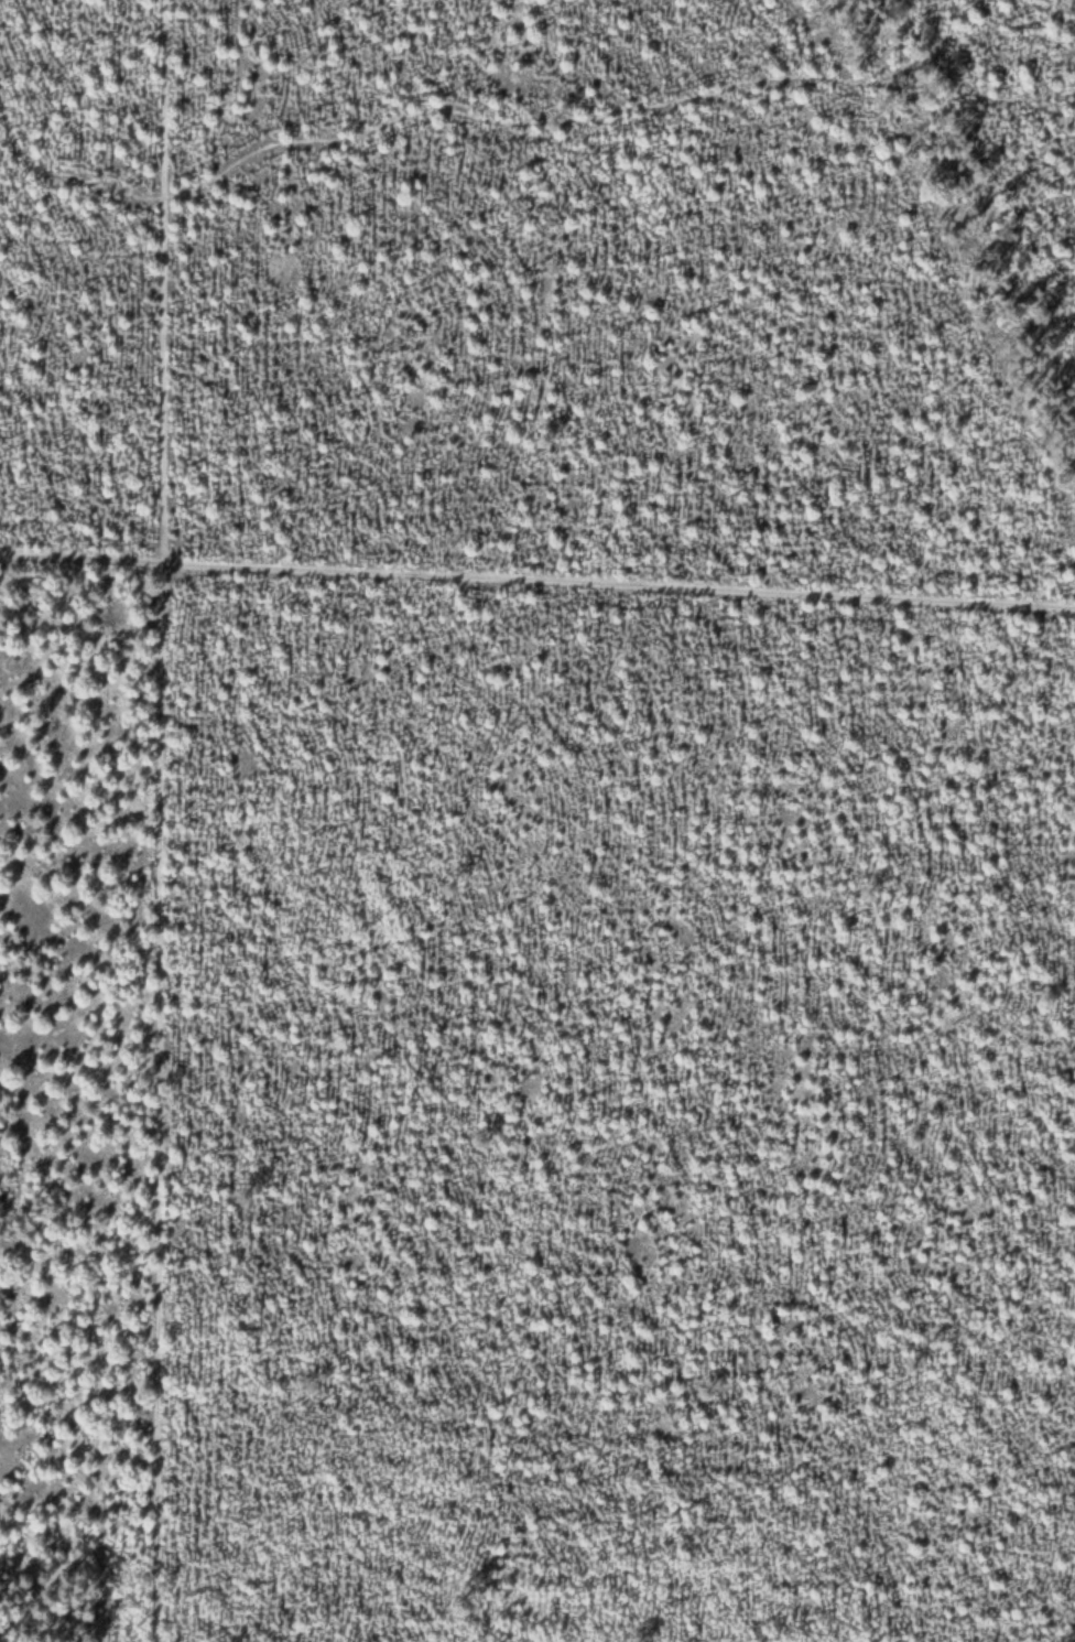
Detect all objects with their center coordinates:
road: (511, 120)
road: (536, 587)
road: (160, 820)

